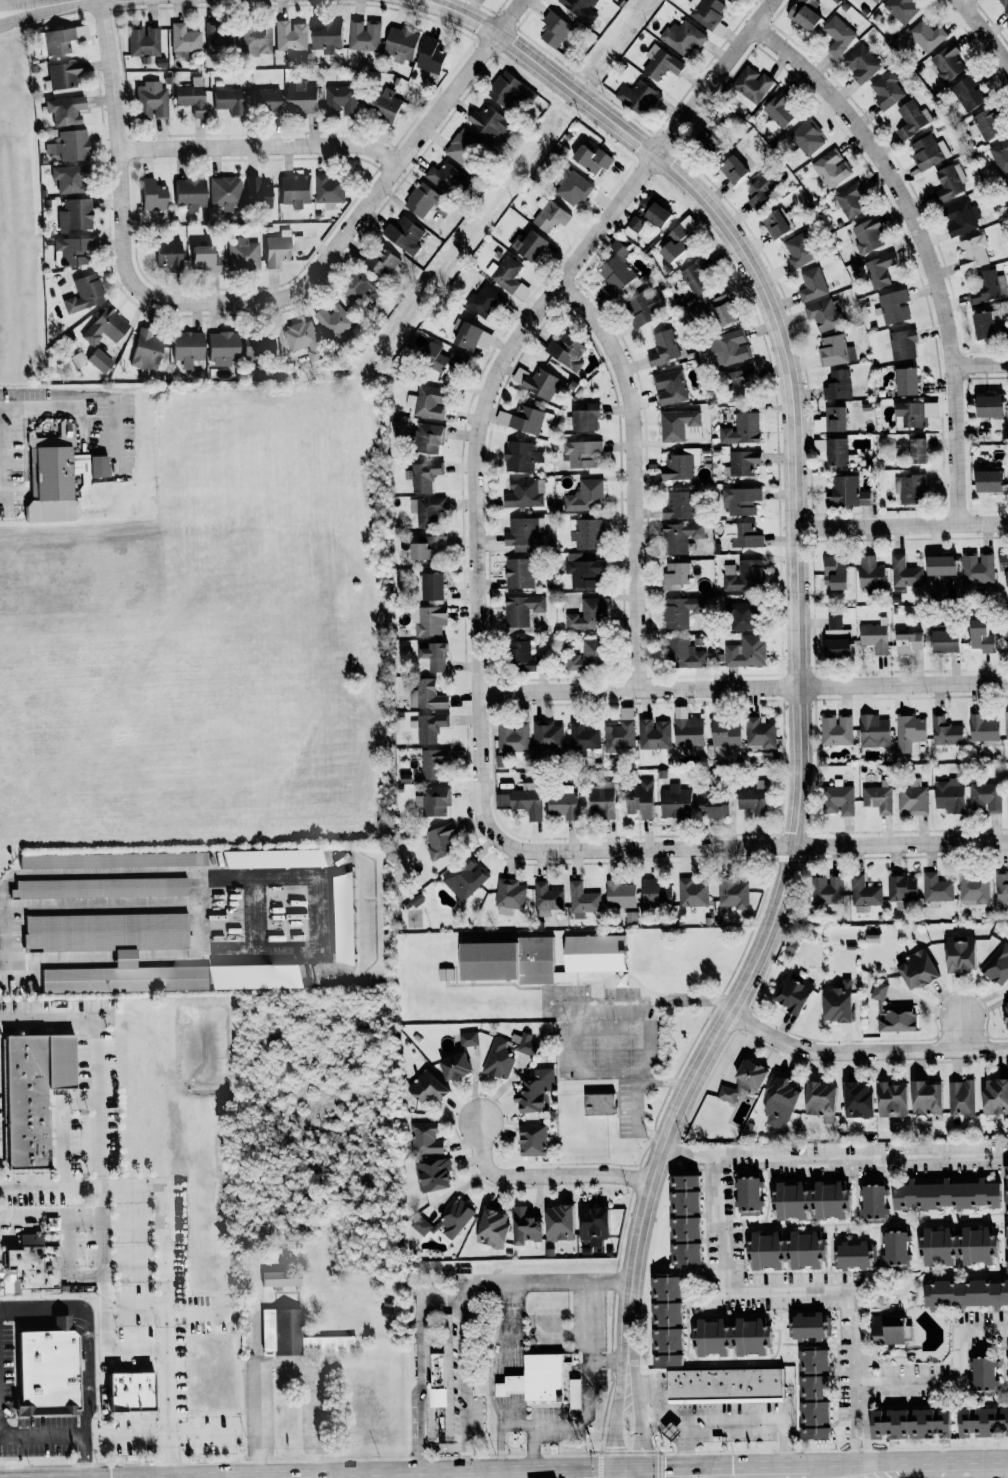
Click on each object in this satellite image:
building: (729, 1)
building: (875, 1)
road: (963, 2)
road: (57, 3)
road: (19, 6)
building: (1004, 6)
building: (579, 9)
building: (902, 9)
building: (706, 12)
building: (803, 14)
road: (20, 16)
building: (552, 30)
road: (984, 32)
building: (364, 35)
building: (837, 35)
building: (290, 36)
building: (324, 36)
building: (926, 36)
building: (682, 37)
building: (183, 38)
building: (142, 40)
building: (218, 40)
building: (255, 41)
building: (400, 44)
building: (429, 55)
building: (861, 62)
building: (659, 63)
building: (946, 63)
building: (63, 75)
building: (749, 87)
building: (885, 90)
building: (510, 92)
building: (967, 93)
building: (190, 97)
building: (637, 97)
building: (299, 99)
building: (149, 100)
building: (227, 100)
building: (339, 100)
building: (264, 101)
building: (381, 104)
building: (64, 110)
building: (778, 110)
building: (910, 119)
building: (486, 121)
building: (984, 125)
building: (807, 137)
building: (703, 142)
building: (68, 145)
road: (259, 147)
building: (463, 147)
building: (927, 151)
building: (1000, 156)
building: (590, 159)
building: (831, 168)
building: (732, 169)
building: (67, 178)
building: (447, 179)
building: (948, 183)
building: (1006, 184)
building: (571, 187)
building: (327, 188)
building: (293, 190)
building: (759, 191)
building: (255, 192)
building: (187, 193)
building: (224, 193)
building: (150, 195)
building: (420, 200)
building: (847, 201)
building: (73, 215)
building: (547, 215)
building: (648, 215)
building: (960, 217)
building: (777, 223)
building: (402, 235)
building: (868, 236)
building: (673, 244)
road: (921, 244)
building: (528, 247)
building: (280, 248)
building: (70, 251)
building: (798, 251)
building: (973, 252)
building: (164, 254)
building: (242, 254)
building: (198, 259)
building: (381, 262)
building: (617, 271)
building: (506, 277)
building: (694, 279)
building: (357, 285)
building: (812, 285)
building: (987, 287)
building: (83, 293)
road: (252, 302)
building: (484, 302)
building: (894, 306)
building: (643, 307)
building: (720, 309)
building: (822, 315)
building: (332, 321)
building: (988, 326)
building: (103, 327)
building: (470, 337)
building: (302, 339)
building: (255, 345)
building: (902, 345)
building: (185, 347)
building: (663, 348)
building: (728, 348)
building: (220, 349)
building: (834, 350)
building: (144, 351)
building: (565, 352)
building: (440, 359)
building: (98, 360)
road: (980, 364)
road: (489, 382)
building: (535, 382)
building: (904, 382)
building: (737, 383)
building: (837, 385)
building: (669, 387)
building: (425, 403)
road: (61, 407)
building: (986, 407)
building: (913, 414)
building: (584, 418)
building: (833, 419)
building: (680, 425)
building: (741, 429)
building: (427, 438)
building: (831, 451)
building: (915, 451)
building: (582, 454)
road: (5, 455)
building: (518, 457)
building: (743, 463)
building: (680, 465)
building: (95, 467)
building: (50, 473)
road: (631, 474)
building: (422, 476)
building: (985, 480)
building: (909, 488)
building: (521, 493)
building: (584, 496)
building: (740, 499)
building: (677, 505)
building: (426, 510)
road: (901, 525)
building: (524, 533)
building: (585, 533)
building: (744, 535)
building: (675, 538)
building: (424, 545)
building: (937, 564)
building: (976, 567)
building: (1001, 568)
building: (582, 570)
building: (833, 571)
building: (517, 572)
building: (869, 574)
building: (905, 574)
building: (741, 575)
building: (675, 576)
building: (430, 585)
building: (521, 609)
building: (677, 611)
building: (588, 614)
road: (797, 614)
building: (427, 620)
building: (1005, 630)
building: (979, 635)
building: (942, 640)
building: (906, 642)
building: (833, 648)
building: (746, 651)
building: (683, 653)
building: (519, 654)
building: (432, 655)
building: (585, 656)
road: (742, 687)
building: (426, 695)
building: (429, 726)
building: (1007, 727)
building: (686, 728)
building: (982, 728)
building: (835, 729)
building: (873, 731)
building: (944, 731)
building: (620, 732)
building: (759, 732)
building: (654, 733)
building: (909, 733)
building: (722, 734)
building: (511, 736)
building: (546, 736)
building: (582, 737)
building: (432, 762)
building: (948, 795)
building: (1007, 795)
building: (878, 797)
building: (914, 797)
building: (985, 797)
building: (521, 799)
building: (638, 799)
building: (432, 800)
building: (750, 800)
building: (836, 800)
building: (560, 801)
building: (600, 801)
building: (673, 802)
building: (710, 805)
building: (439, 842)
road: (754, 846)
building: (269, 858)
building: (111, 860)
road: (246, 877)
building: (464, 877)
building: (97, 887)
building: (901, 887)
building: (936, 887)
building: (1001, 887)
building: (974, 888)
building: (826, 889)
building: (863, 892)
building: (653, 893)
building: (692, 893)
building: (732, 893)
building: (619, 894)
building: (508, 896)
building: (546, 898)
building: (582, 900)
road: (196, 917)
building: (340, 918)
building: (871, 938)
building: (957, 953)
road: (57, 956)
road: (125, 956)
building: (122, 957)
building: (539, 958)
building: (997, 965)
building: (914, 970)
building: (790, 992)
road: (635, 1002)
building: (836, 1003)
building: (1005, 1015)
road: (57, 1019)
road: (610, 1028)
road: (957, 1033)
building: (467, 1039)
road: (611, 1051)
road: (863, 1053)
building: (496, 1060)
building: (451, 1066)
road: (610, 1074)
building: (741, 1080)
building: (425, 1087)
building: (533, 1091)
building: (29, 1094)
building: (994, 1096)
road: (635, 1097)
building: (924, 1097)
building: (960, 1097)
building: (890, 1098)
building: (855, 1099)
building: (818, 1100)
building: (777, 1102)
building: (597, 1103)
building: (423, 1138)
building: (531, 1139)
road: (62, 1140)
road: (832, 1158)
building: (431, 1174)
road: (539, 1176)
road: (100, 1183)
building: (746, 1194)
building: (943, 1195)
building: (808, 1200)
building: (871, 1201)
building: (1005, 1216)
building: (681, 1220)
building: (444, 1221)
road: (82, 1223)
building: (556, 1223)
building: (591, 1224)
building: (523, 1226)
building: (490, 1227)
building: (955, 1246)
building: (893, 1248)
road: (164, 1249)
building: (783, 1250)
building: (849, 1255)
road: (134, 1263)
building: (27, 1267)
road: (67, 1267)
building: (277, 1278)
road: (545, 1282)
road: (809, 1292)
road: (461, 1293)
building: (964, 1293)
road: (135, 1300)
road: (202, 1313)
road: (45, 1320)
building: (663, 1321)
building: (804, 1326)
road: (88, 1329)
building: (279, 1330)
building: (884, 1330)
road: (559, 1334)
building: (729, 1335)
building: (340, 1344)
road: (135, 1347)
road: (507, 1354)
road: (281, 1360)
road: (607, 1360)
road: (419, 1369)
building: (1007, 1371)
building: (43, 1373)
building: (981, 1373)
building: (534, 1378)
road: (956, 1380)
building: (721, 1384)
road: (462, 1390)
building: (125, 1392)
building: (573, 1394)
building: (810, 1395)
road: (738, 1420)
road: (584, 1422)
building: (981, 1422)
road: (618, 1423)
road: (638, 1423)
building: (906, 1423)
road: (172, 1433)
road: (41, 1434)
road: (441, 1449)
road: (685, 1449)
road: (531, 1451)
road: (84, 1456)
road: (907, 1475)
road: (796, 1477)

